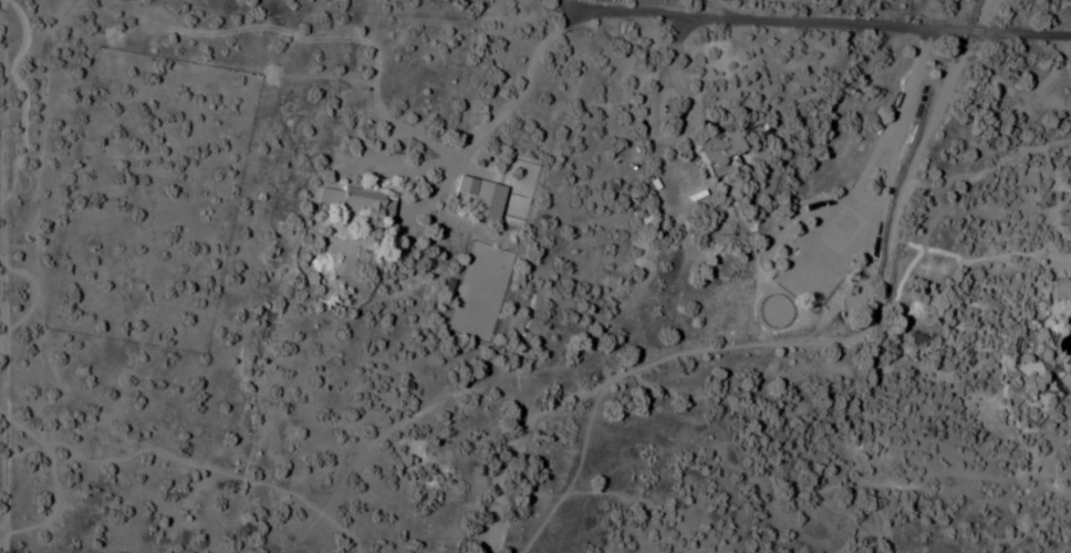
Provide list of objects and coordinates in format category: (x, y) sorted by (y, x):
road: (770, 22)
road: (1029, 30)
road: (978, 31)
building: (714, 153)
building: (478, 197)
building: (353, 207)
building: (824, 250)
building: (1059, 292)
building: (1064, 384)

